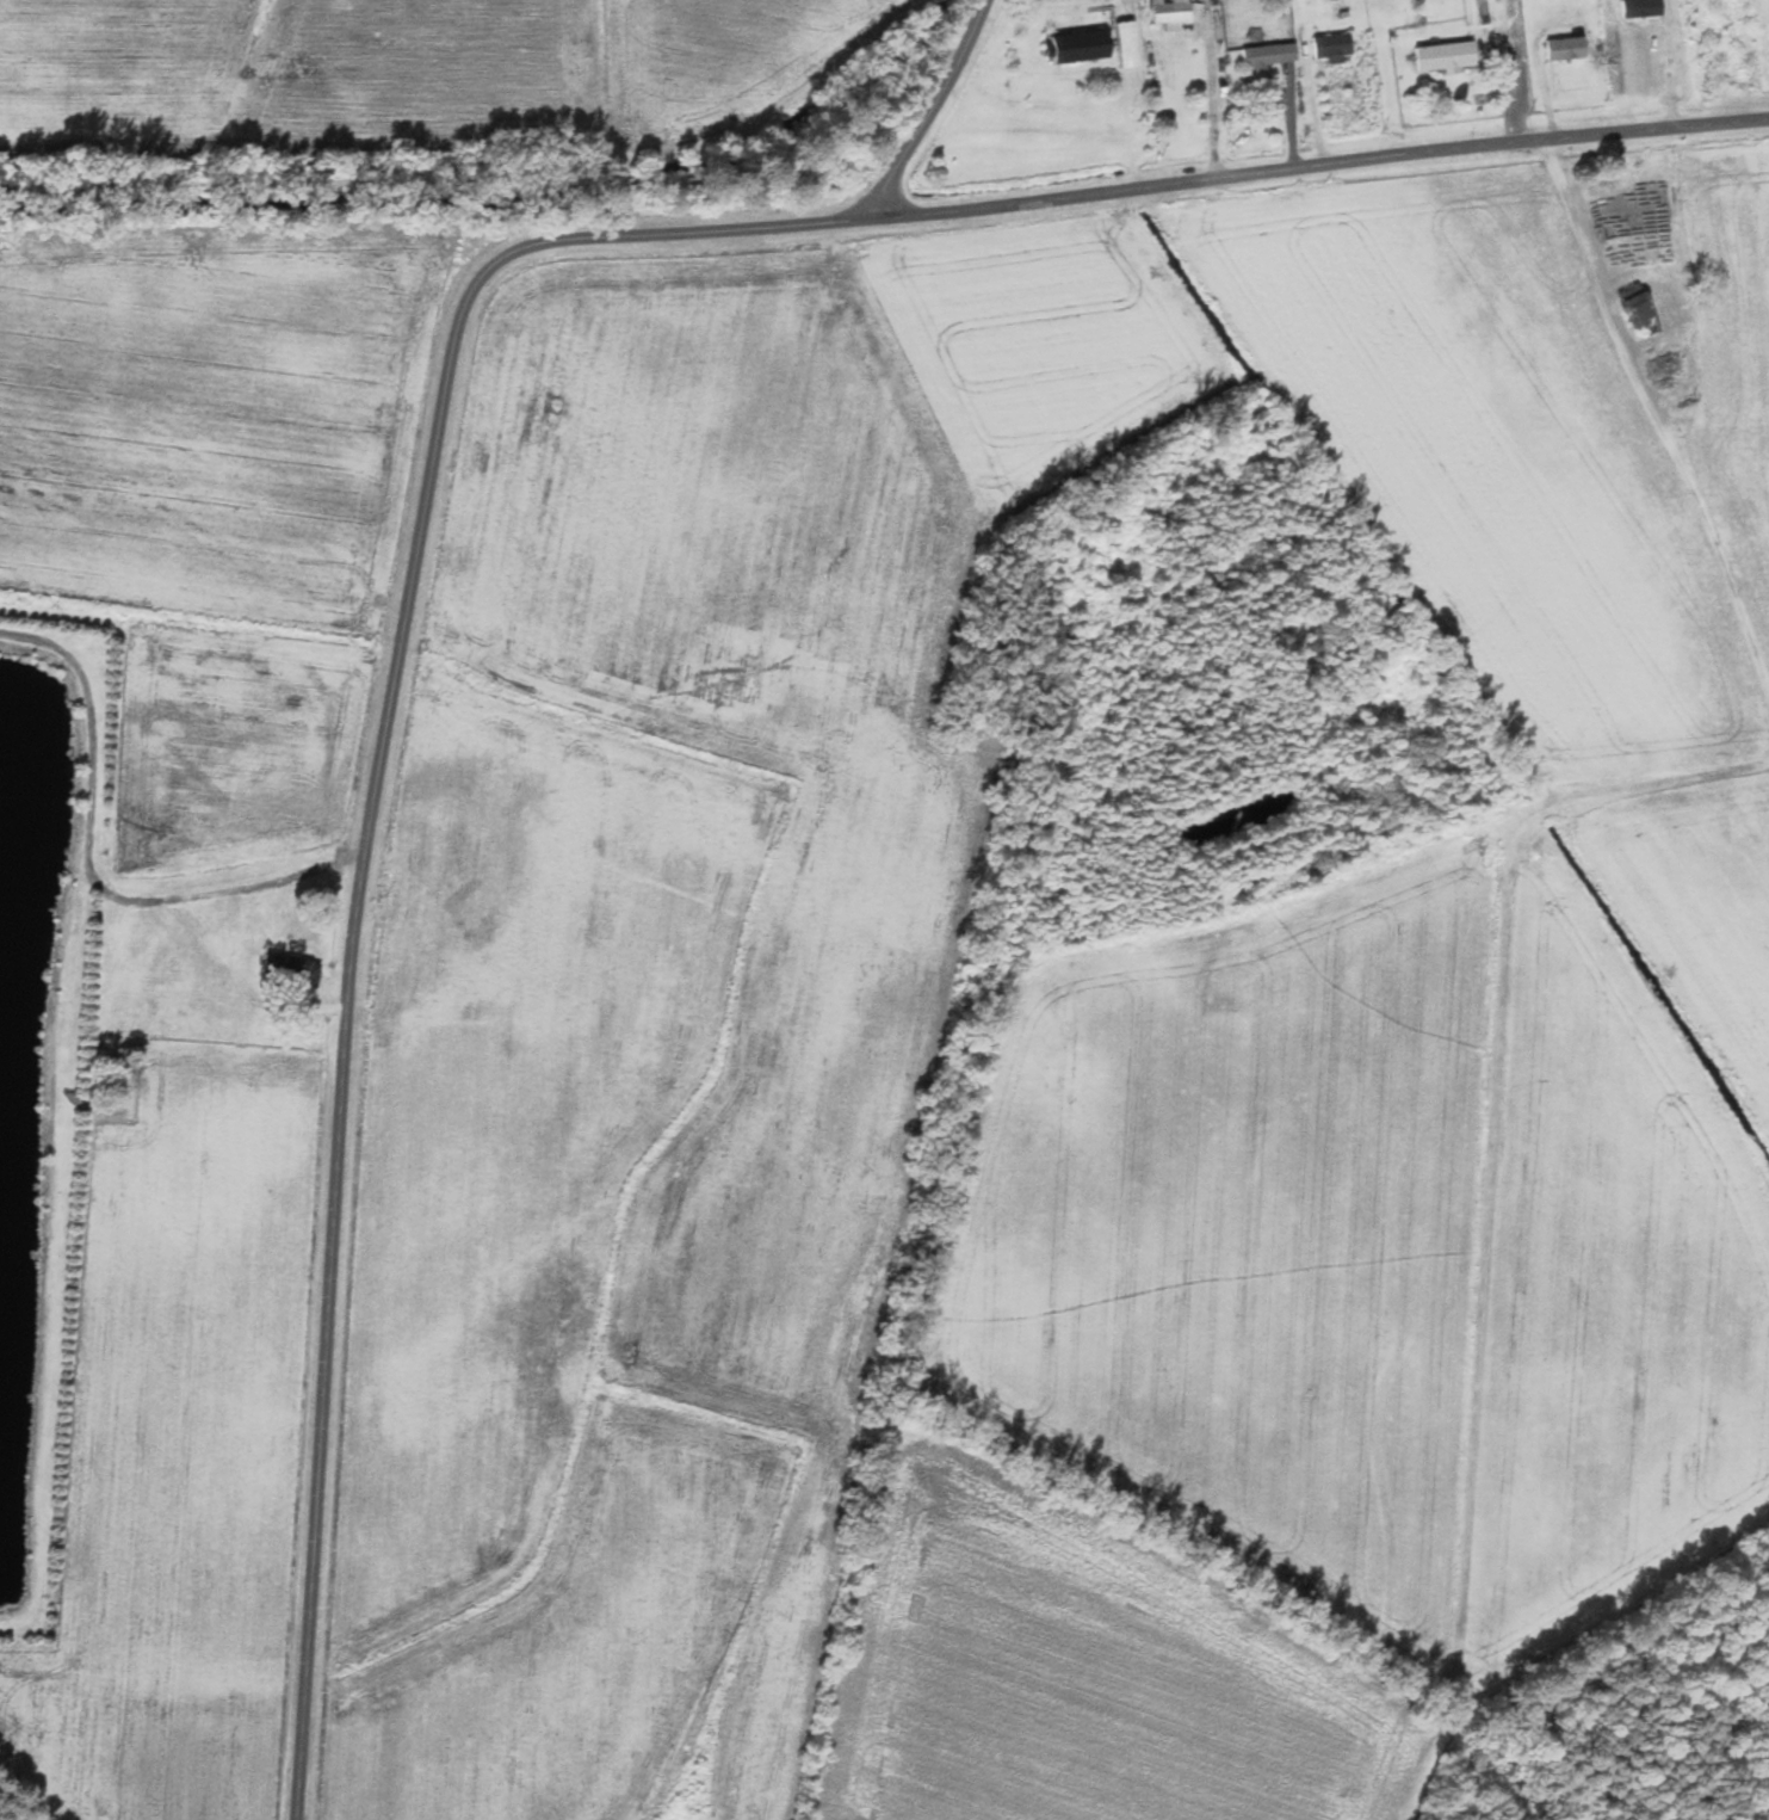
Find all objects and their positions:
building: (1641, 8)
building: (1173, 12)
building: (1332, 47)
building: (1082, 48)
building: (1567, 49)
building: (1268, 55)
building: (1454, 61)
road: (927, 111)
building: (1643, 315)
road: (403, 384)
building: (290, 971)

